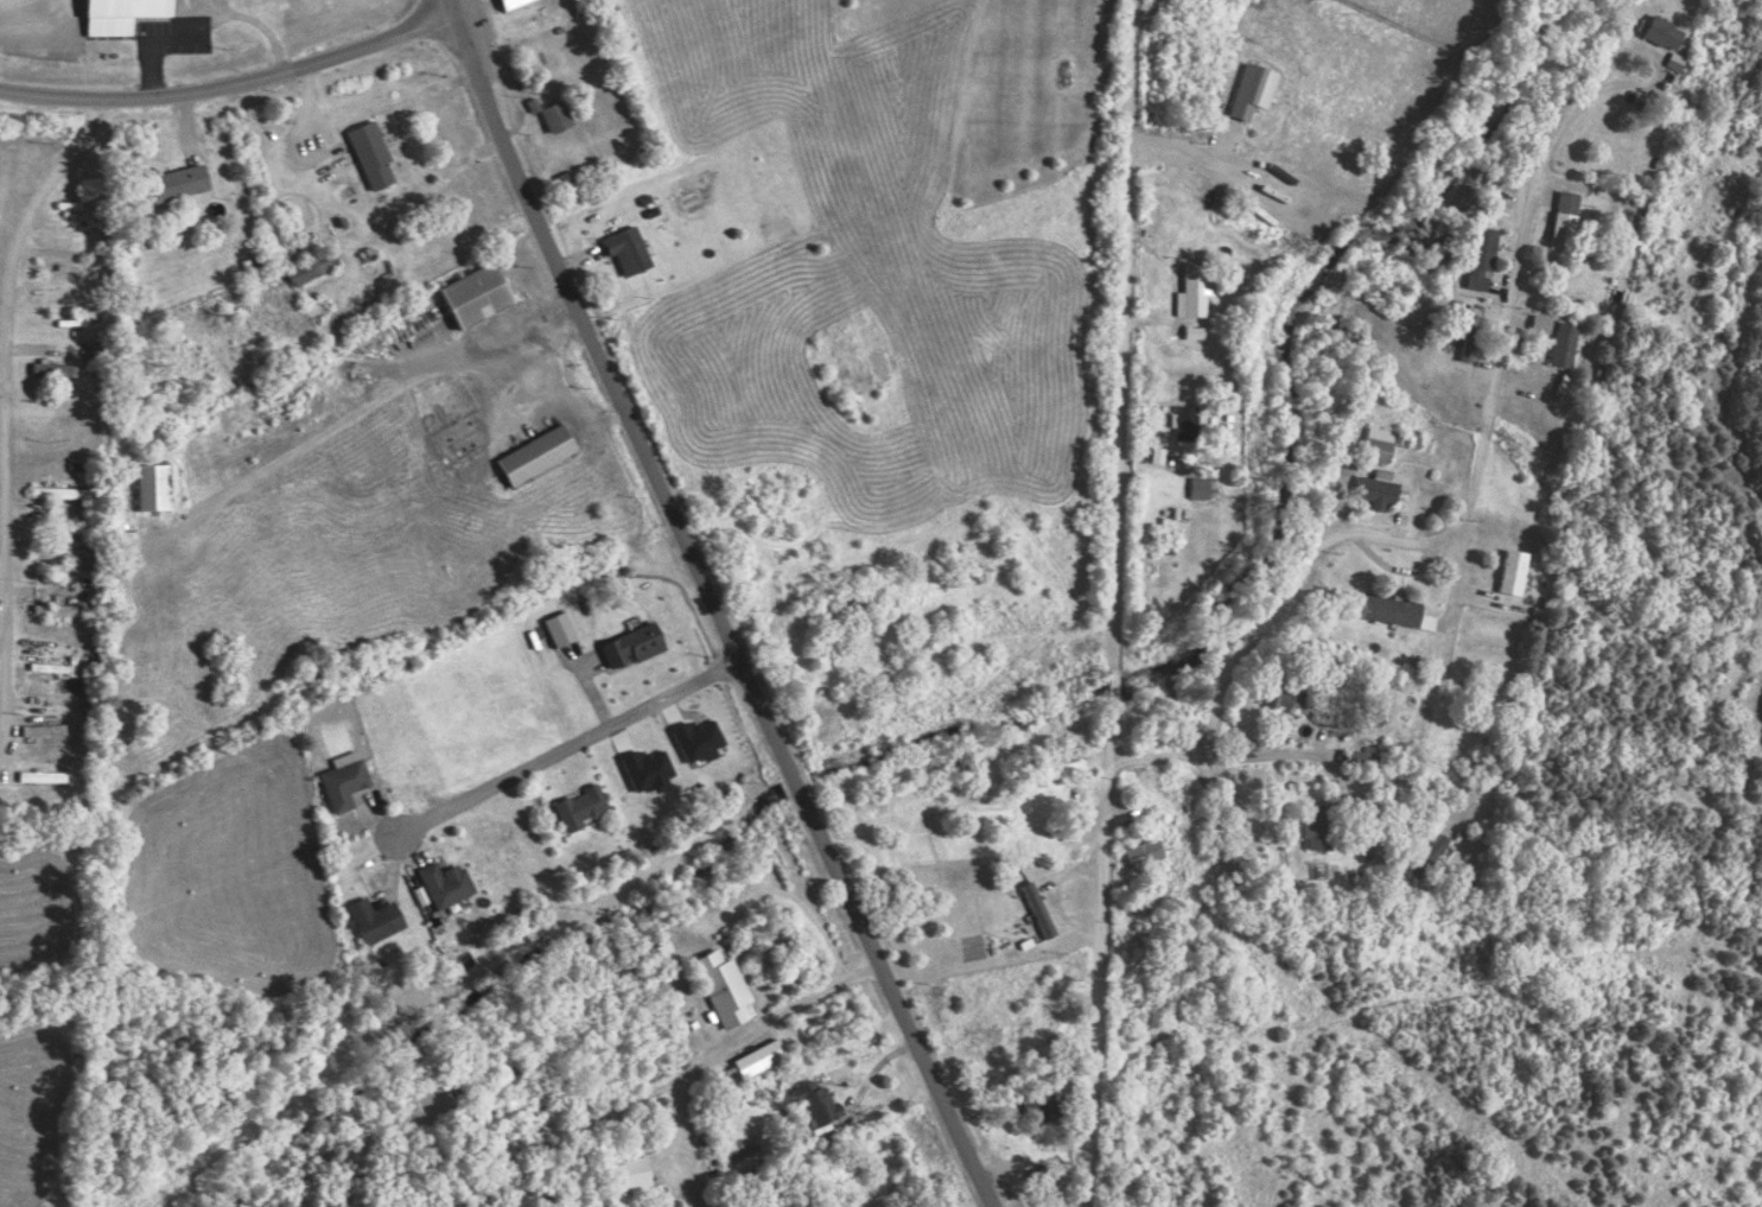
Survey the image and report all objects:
road: (0, 0)
building: (515, 4)
road: (430, 5)
building: (125, 14)
road: (261, 25)
building: (1671, 43)
road: (223, 88)
building: (1257, 90)
building: (555, 116)
road: (1191, 154)
building: (182, 183)
building: (1571, 202)
building: (1570, 230)
building: (630, 250)
building: (1483, 259)
building: (303, 273)
road: (21, 282)
building: (1195, 292)
building: (479, 296)
building: (1564, 347)
road: (483, 368)
building: (1380, 444)
building: (539, 455)
road: (1478, 464)
building: (154, 488)
building: (1202, 488)
building: (1380, 490)
building: (1514, 572)
road: (1118, 603)
road: (717, 606)
building: (562, 628)
building: (637, 644)
building: (701, 739)
road: (5, 742)
road: (570, 745)
road: (1214, 755)
road: (1387, 788)
building: (584, 806)
building: (446, 883)
building: (1039, 909)
building: (376, 919)
building: (726, 987)
road: (813, 998)
building: (762, 1057)

